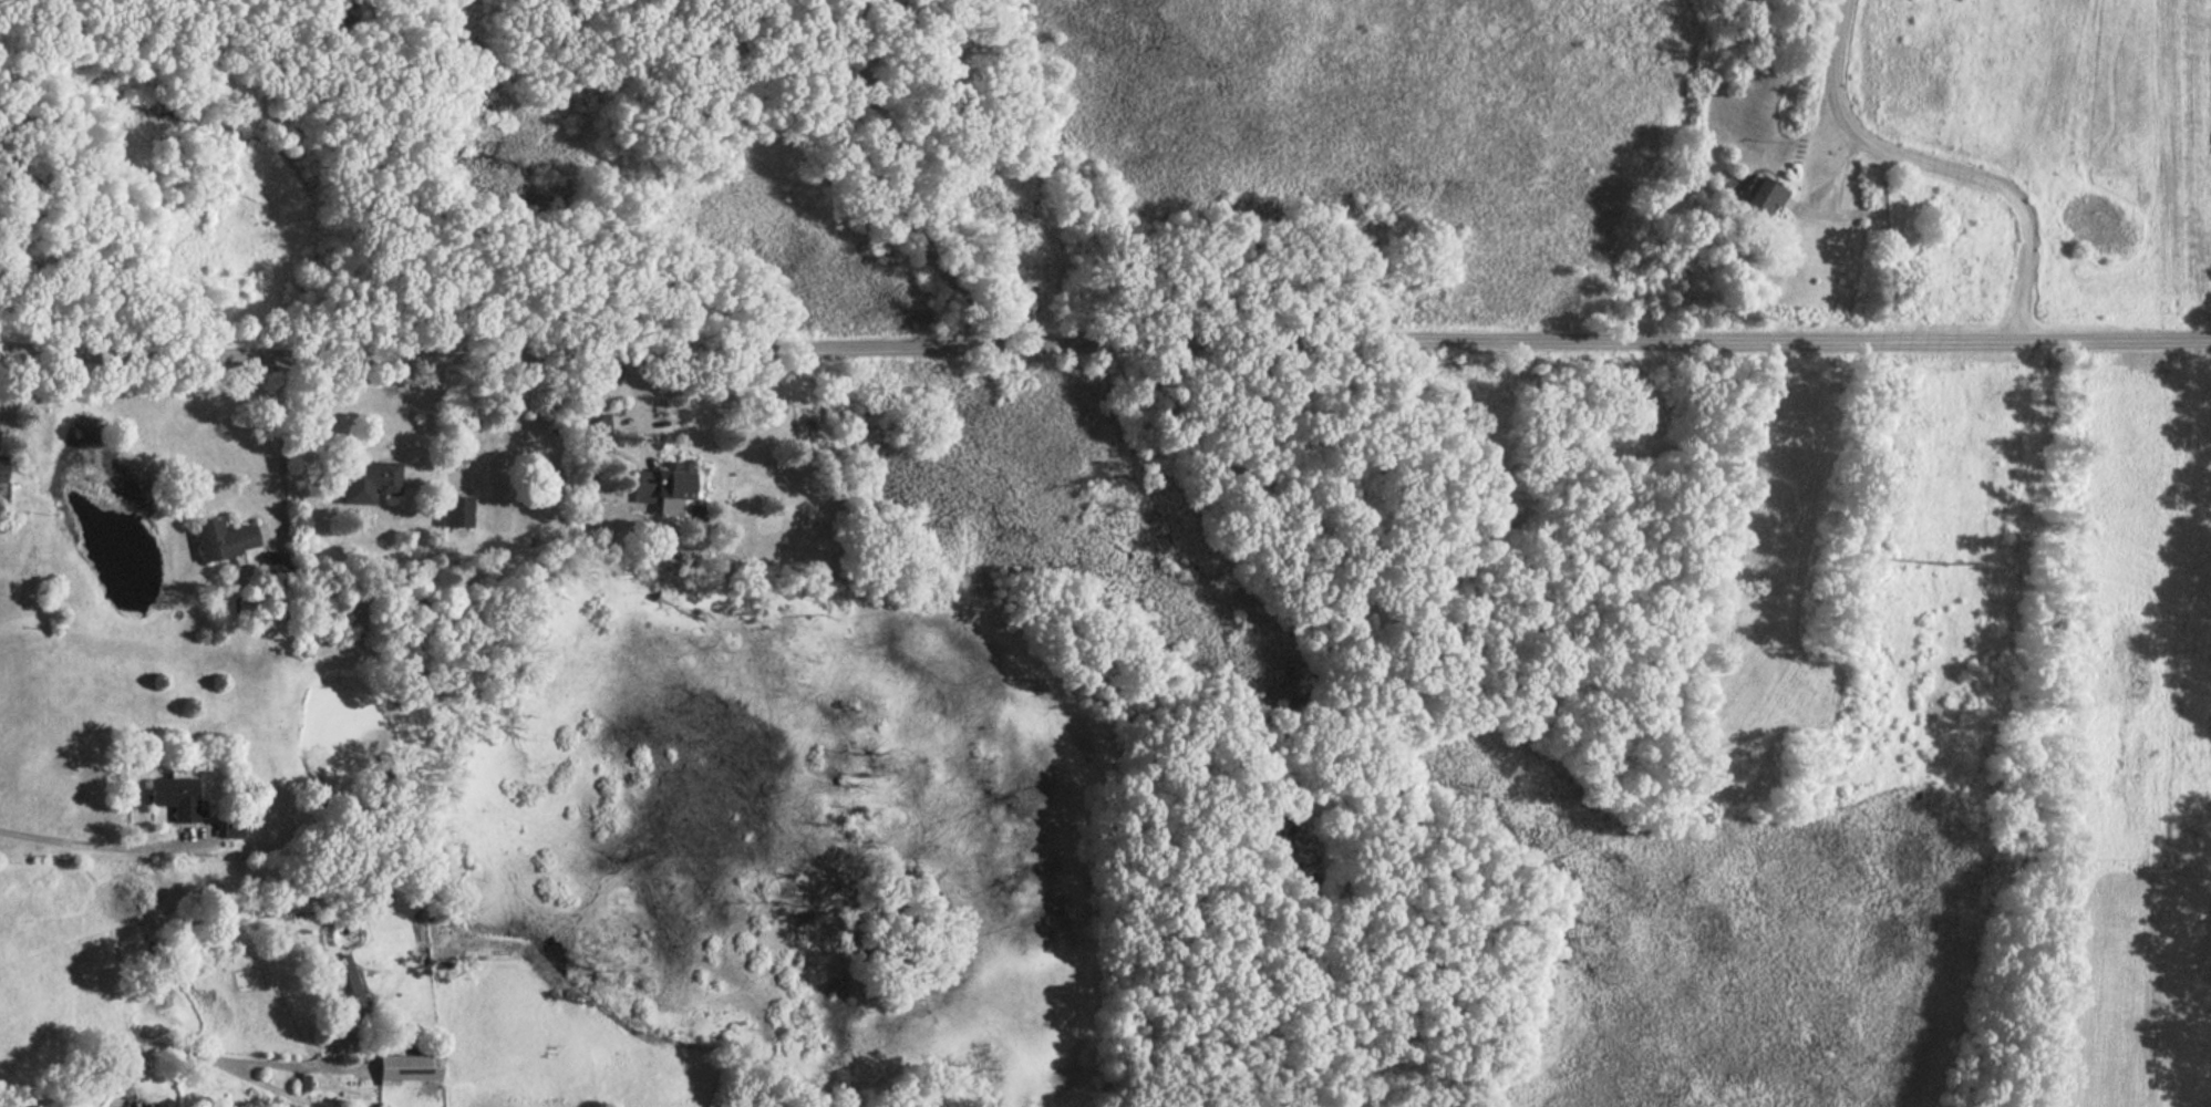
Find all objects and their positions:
road: (342, 4)
road: (1938, 164)
road: (1830, 178)
road: (895, 182)
building: (1753, 197)
road: (1784, 203)
road: (1794, 209)
road: (1105, 345)
building: (588, 431)
road: (282, 439)
building: (365, 480)
building: (655, 486)
building: (452, 511)
building: (219, 539)
power tower: (1945, 573)
building: (168, 796)
building: (229, 828)
road: (90, 844)
building: (335, 985)
road: (159, 1053)
building: (404, 1068)
road: (258, 1079)

